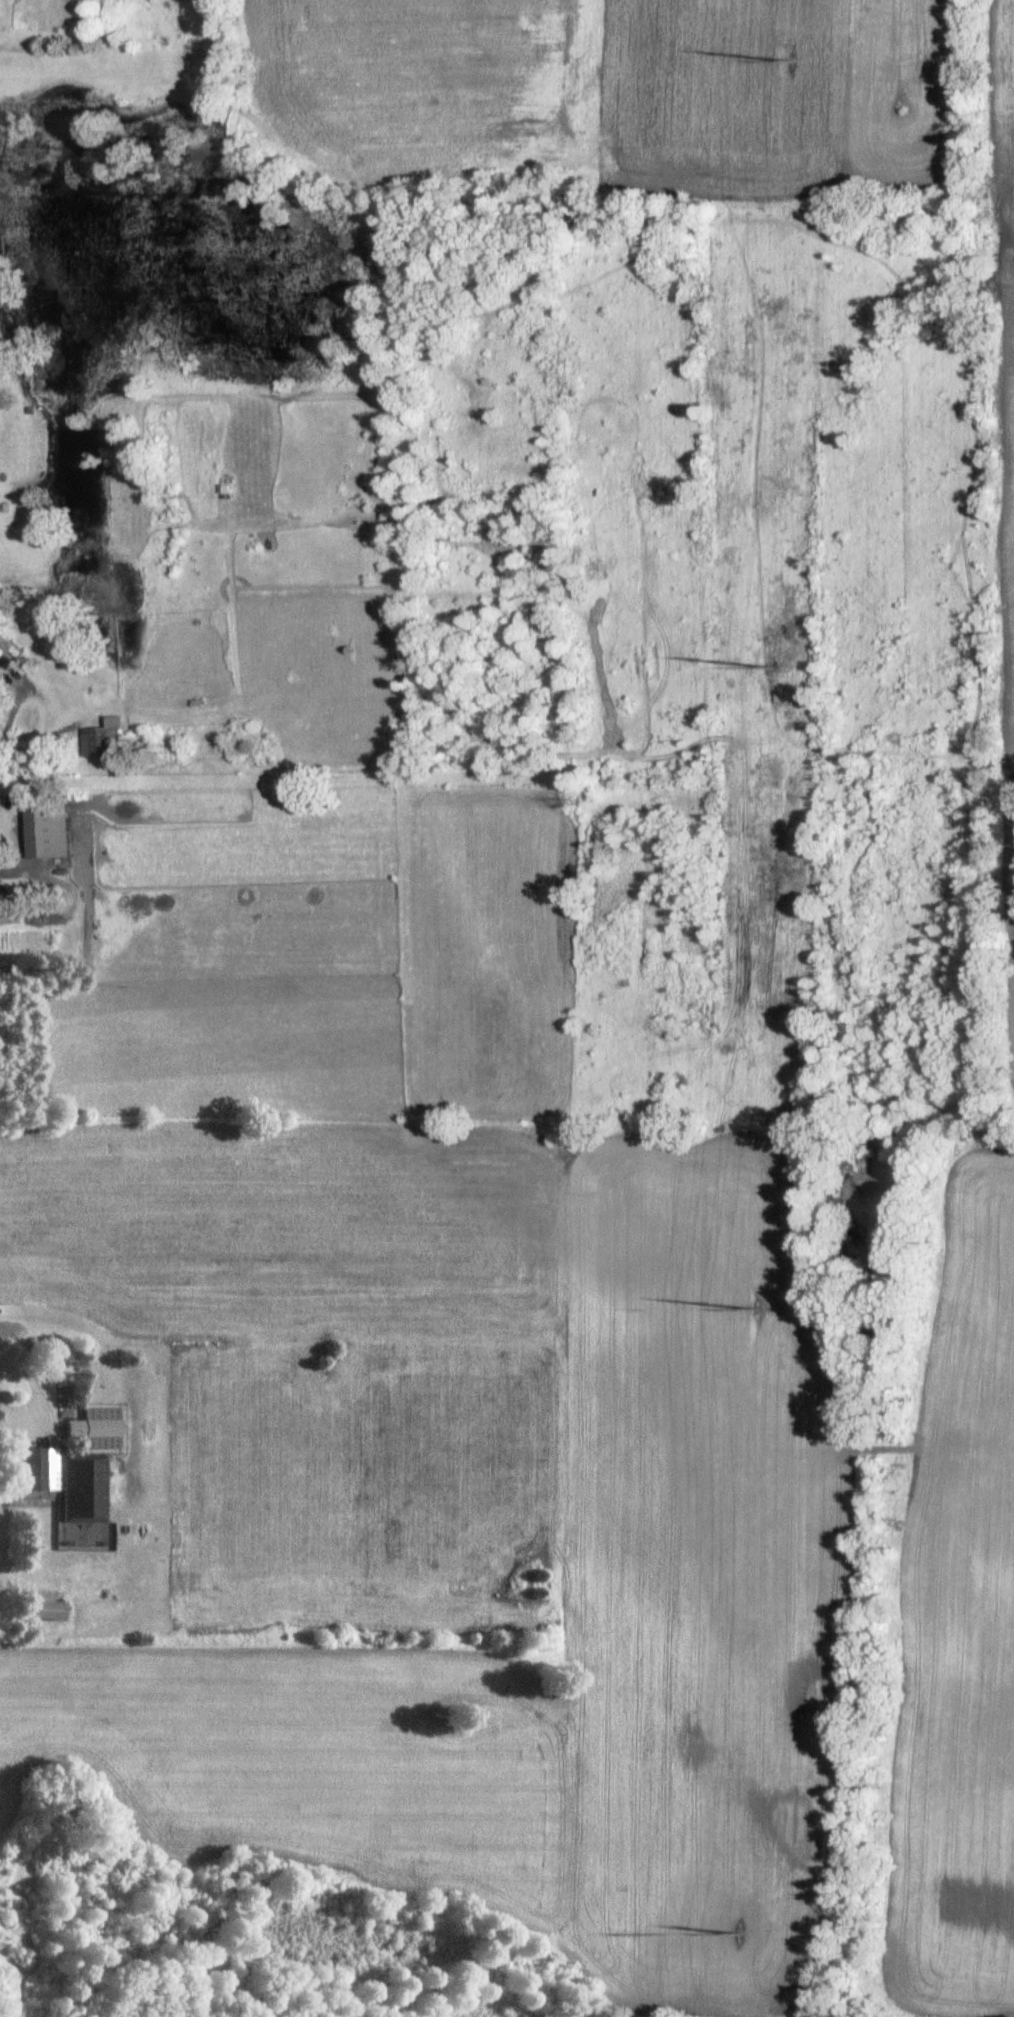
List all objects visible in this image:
power tower: (791, 60)
building: (3, 248)
building: (7, 654)
power tower: (775, 666)
road: (42, 701)
building: (99, 741)
building: (48, 830)
power tower: (760, 1308)
building: (37, 1470)
building: (83, 1500)
building: (48, 1611)
power tower: (743, 1934)

